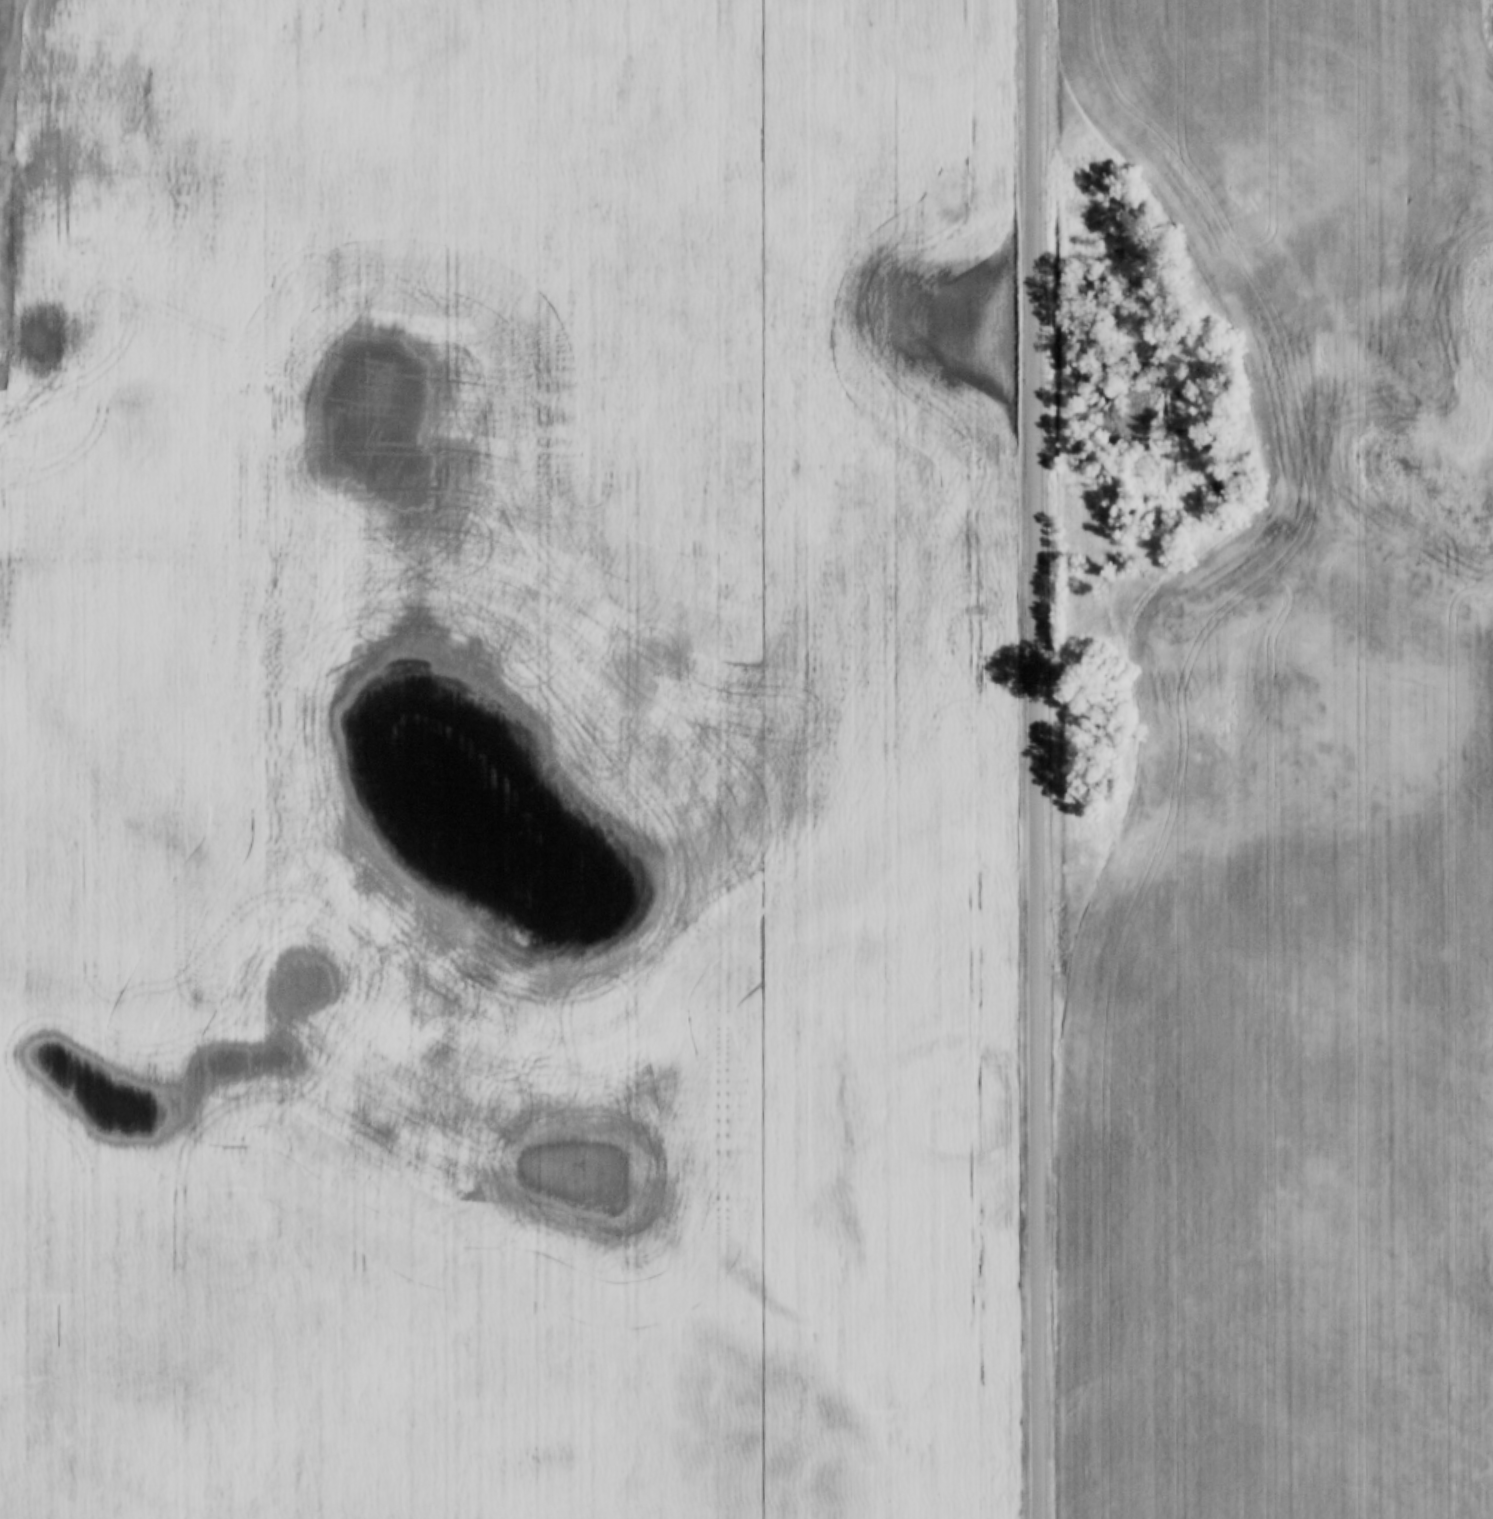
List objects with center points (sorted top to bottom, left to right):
road: (1035, 759)

